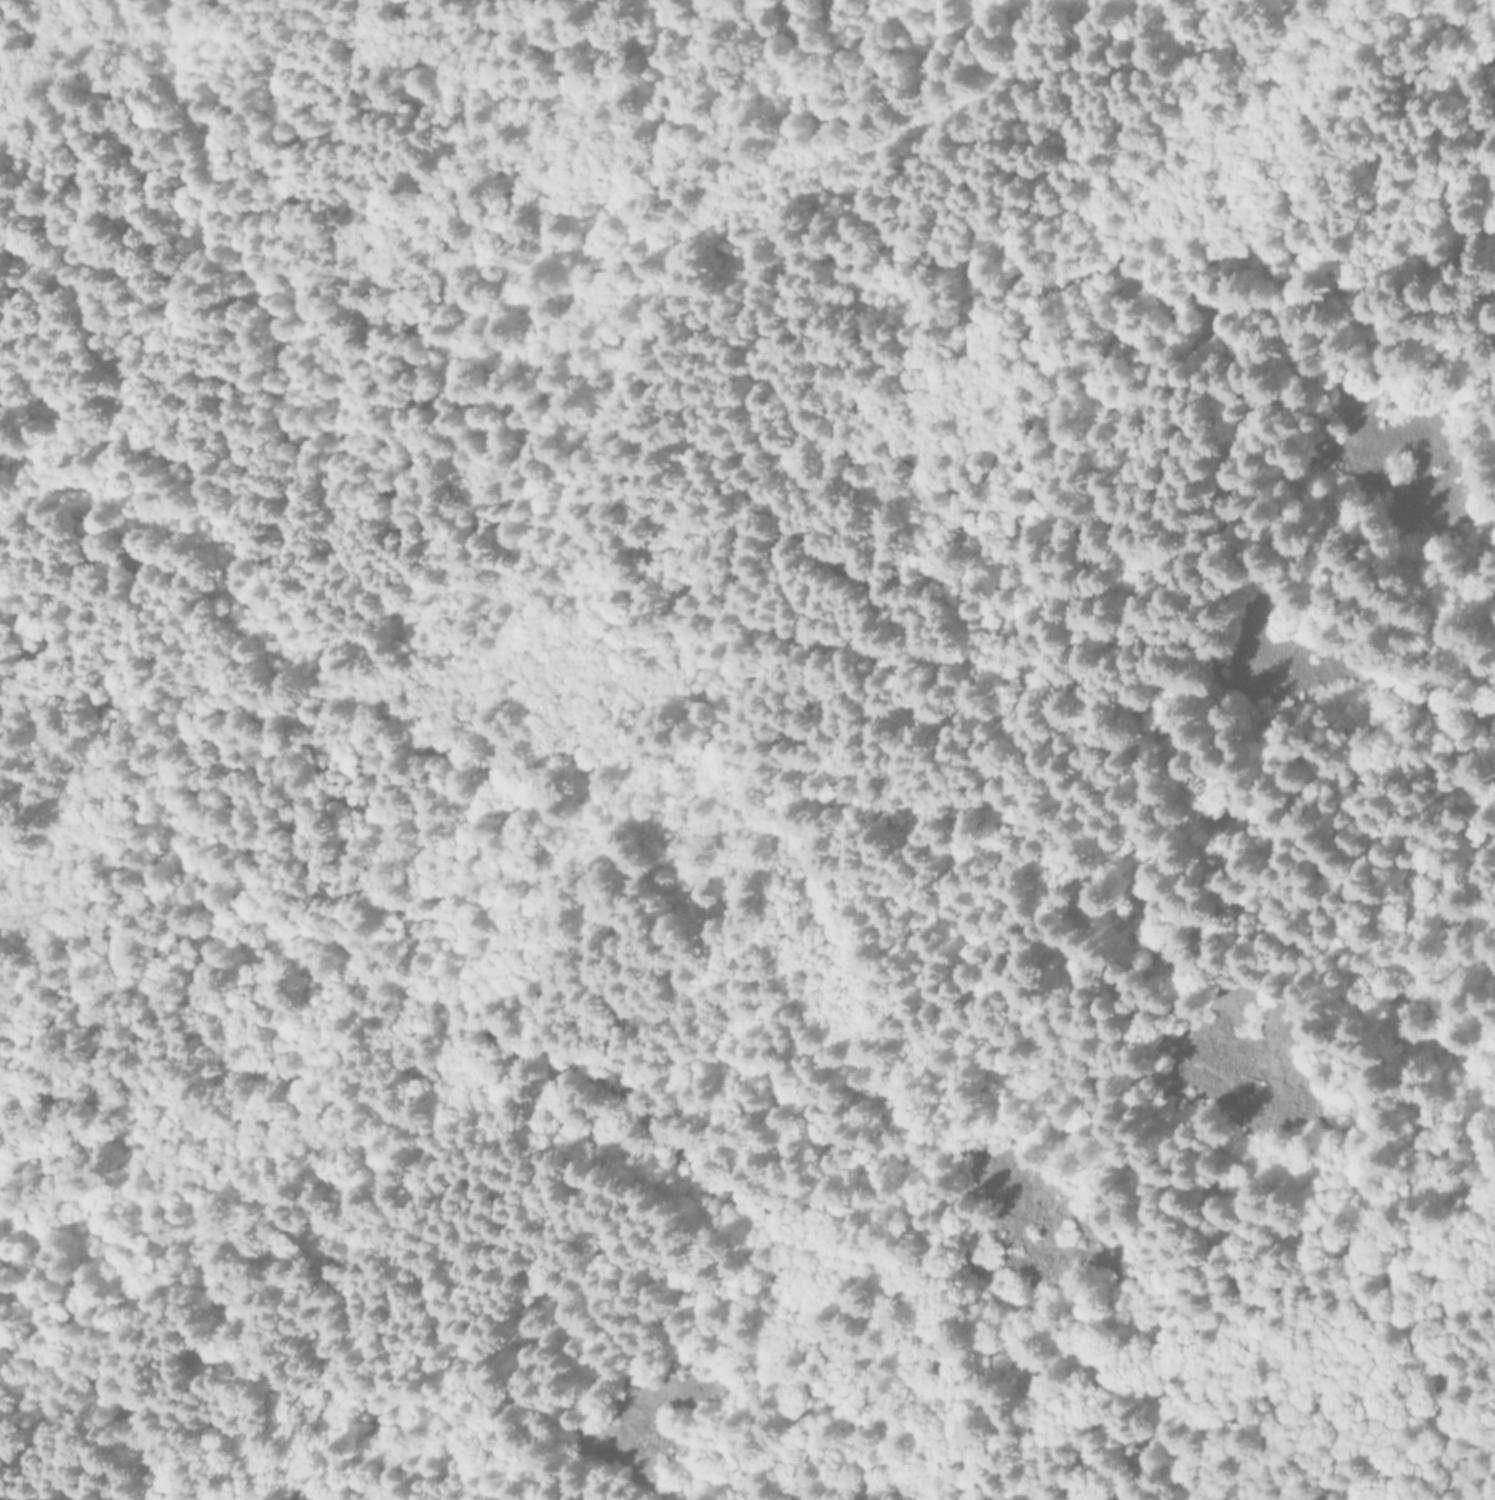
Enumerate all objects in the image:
road: (534, 30)
road: (532, 457)

